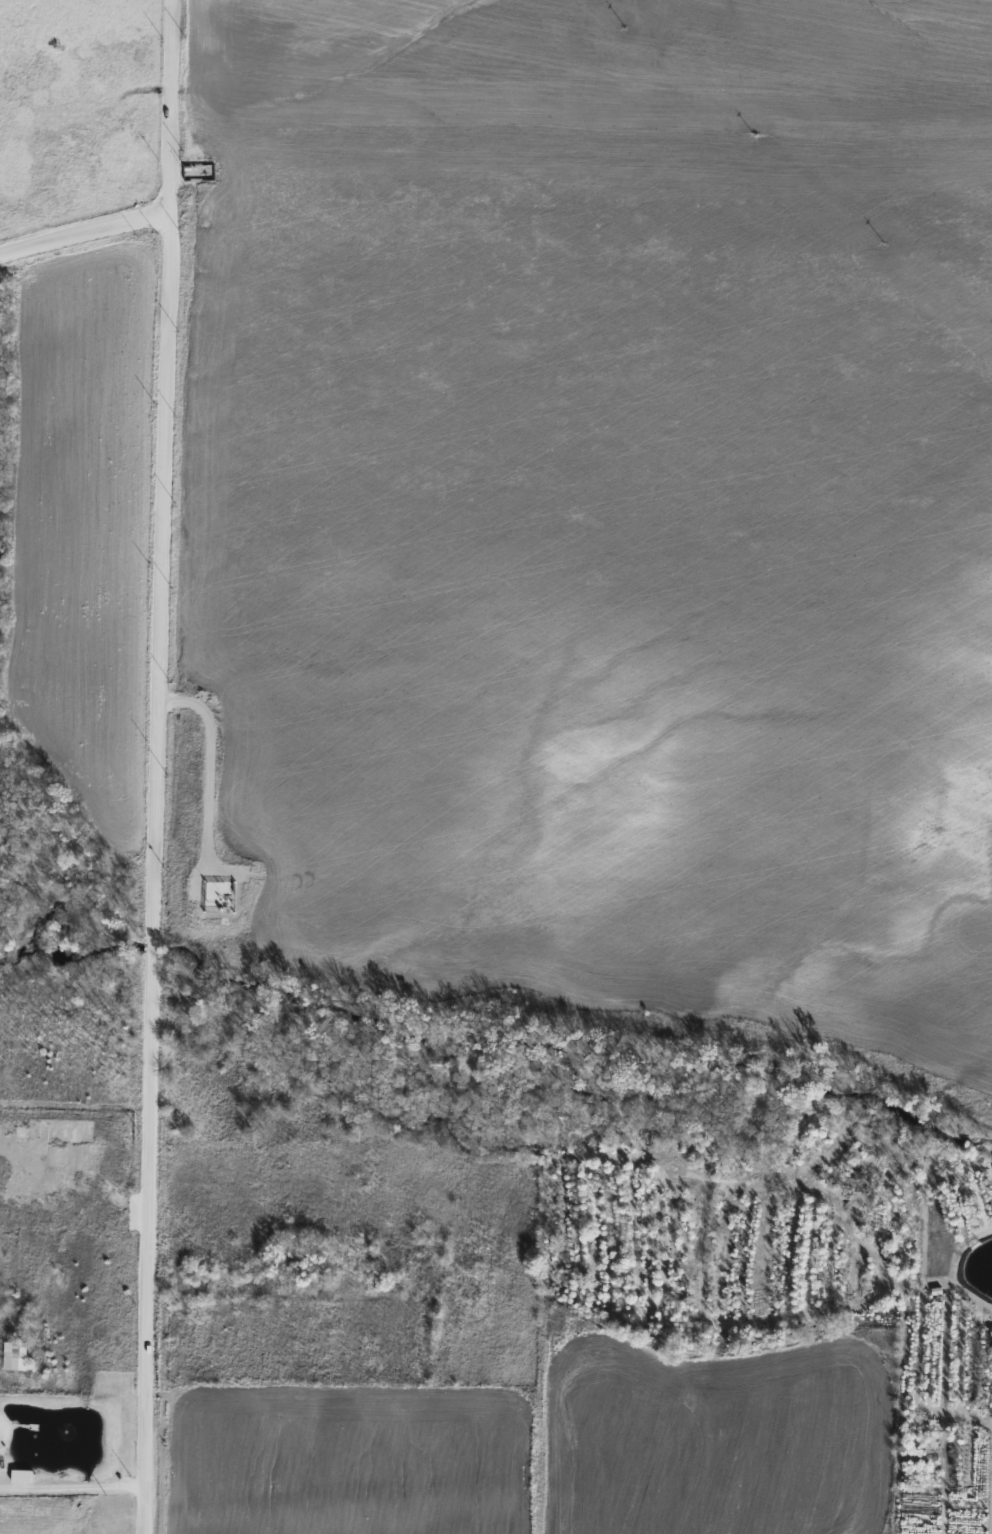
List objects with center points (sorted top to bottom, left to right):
road: (83, 230)
crop: (613, 501)
road: (213, 764)
road: (156, 766)
building: (410, 1283)
road: (264, 1293)
building: (14, 1355)
building: (21, 1476)
road: (72, 1486)

